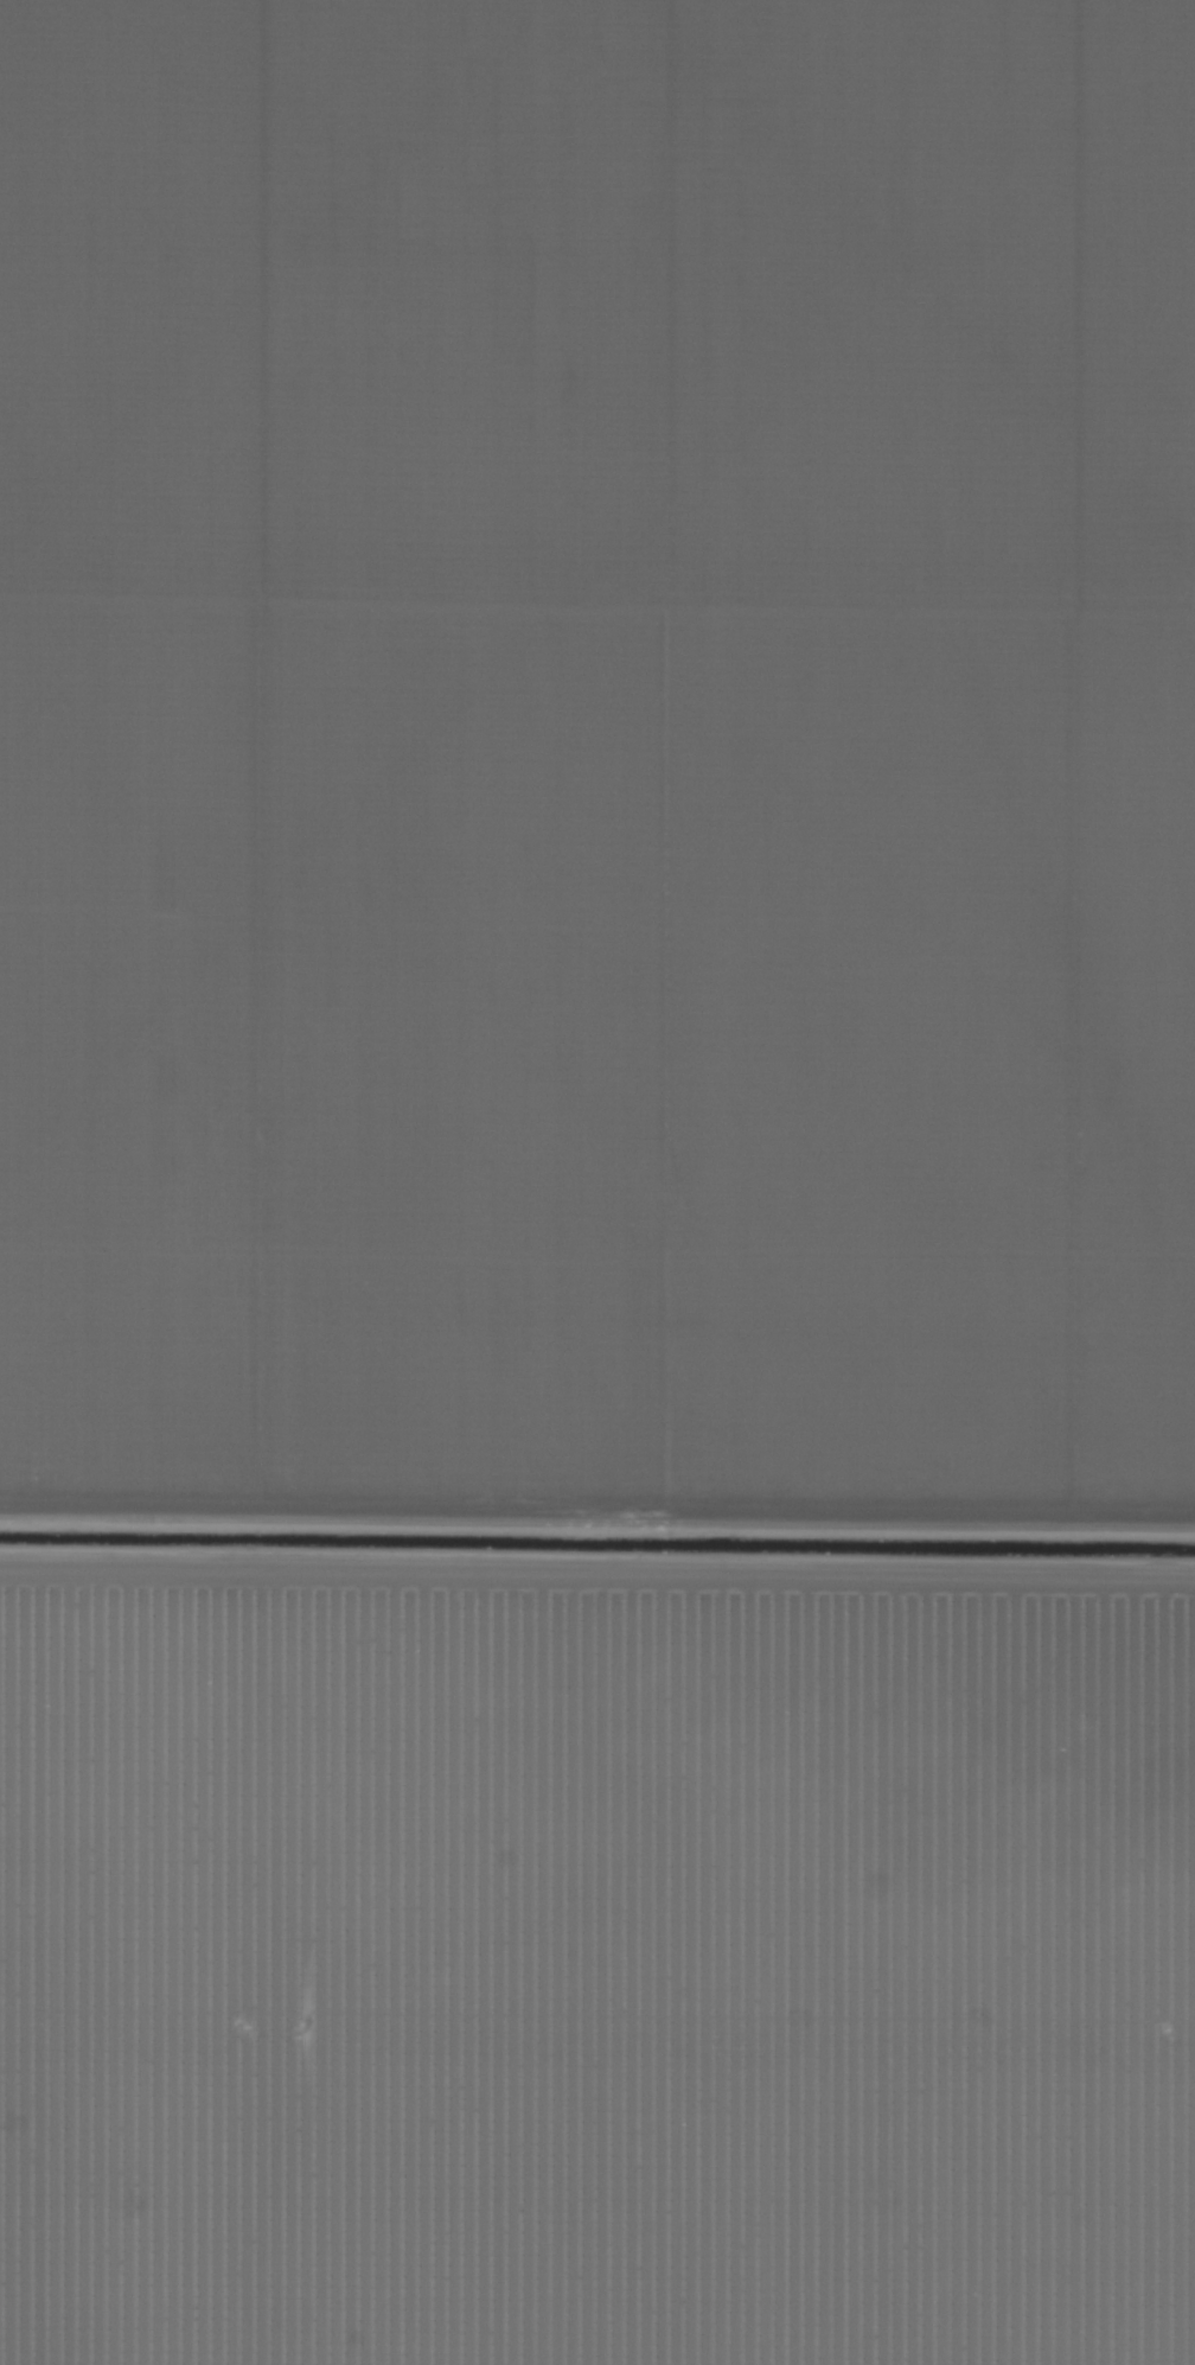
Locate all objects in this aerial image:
crop: (597, 1182)
road: (597, 1526)

